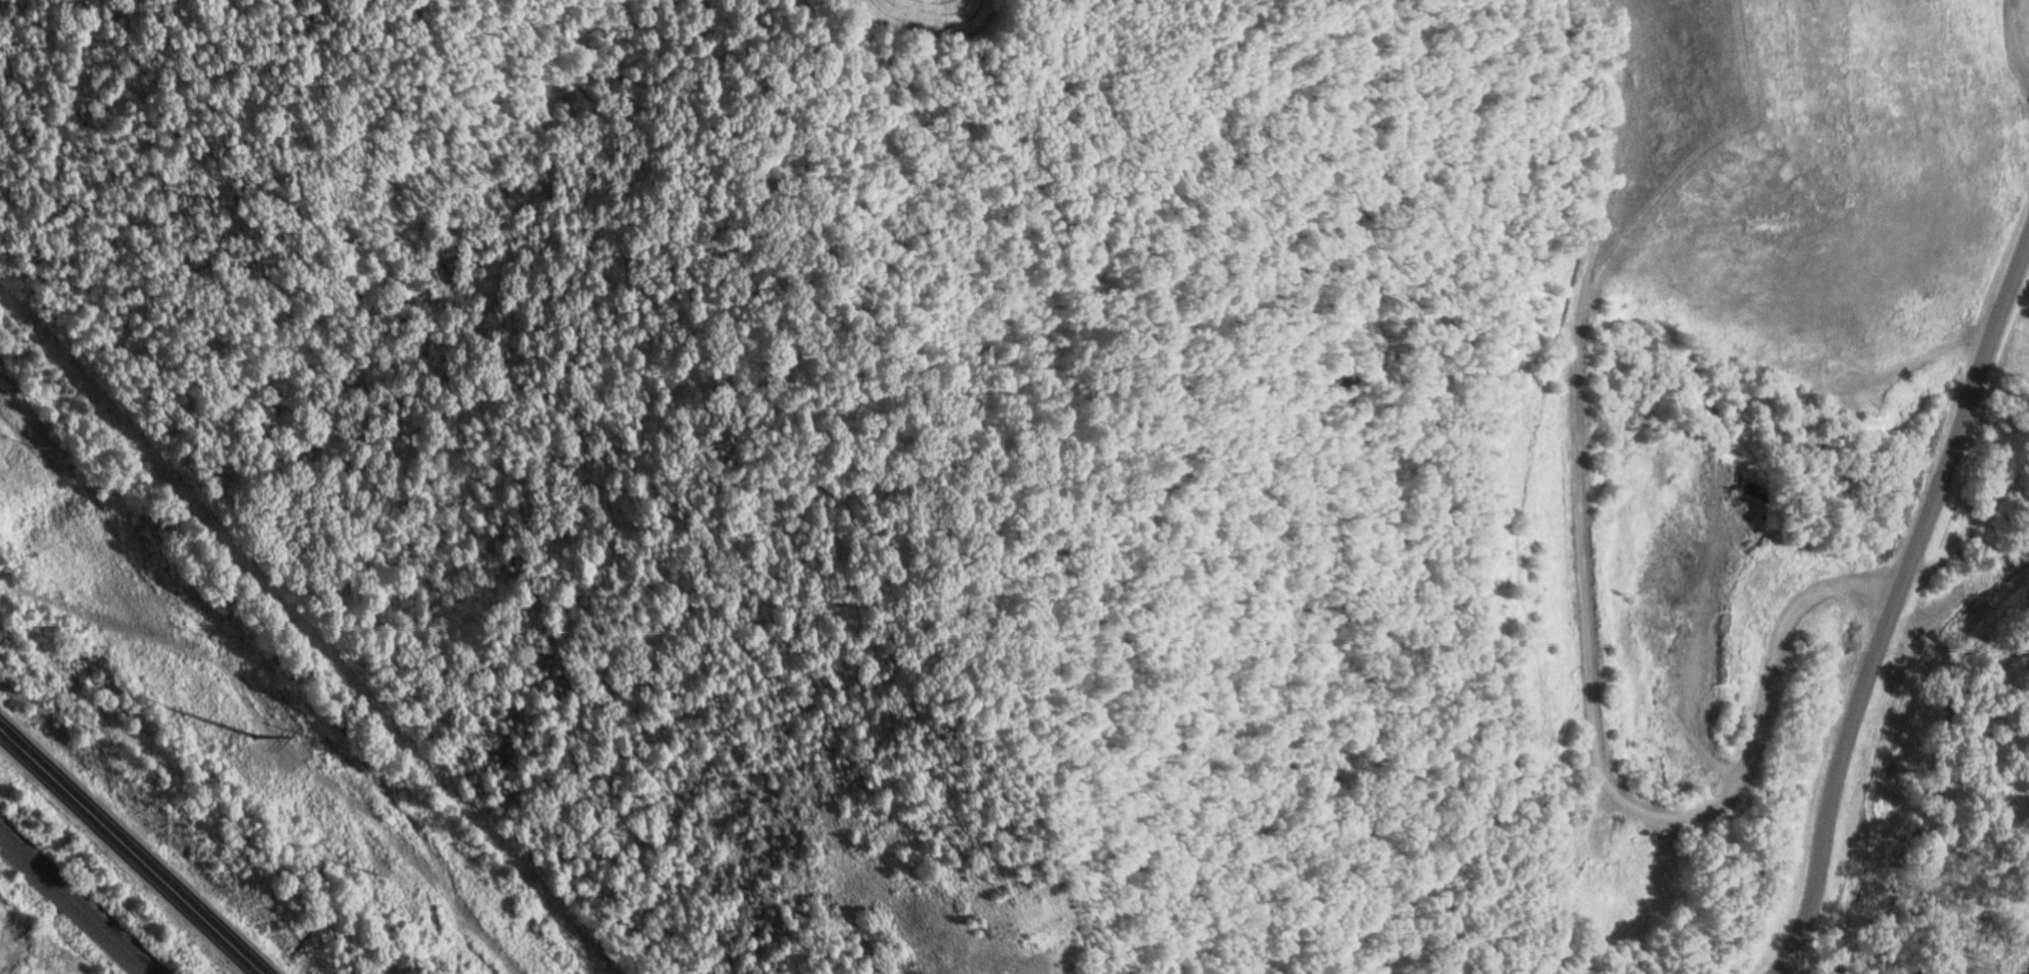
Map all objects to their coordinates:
road: (2009, 71)
power tower: (37, 448)
road: (1779, 636)
power tower: (213, 641)
power tower: (253, 739)
power tower: (312, 740)
road: (130, 852)
power tower: (373, 874)
railway: (79, 899)
railway: (71, 907)

